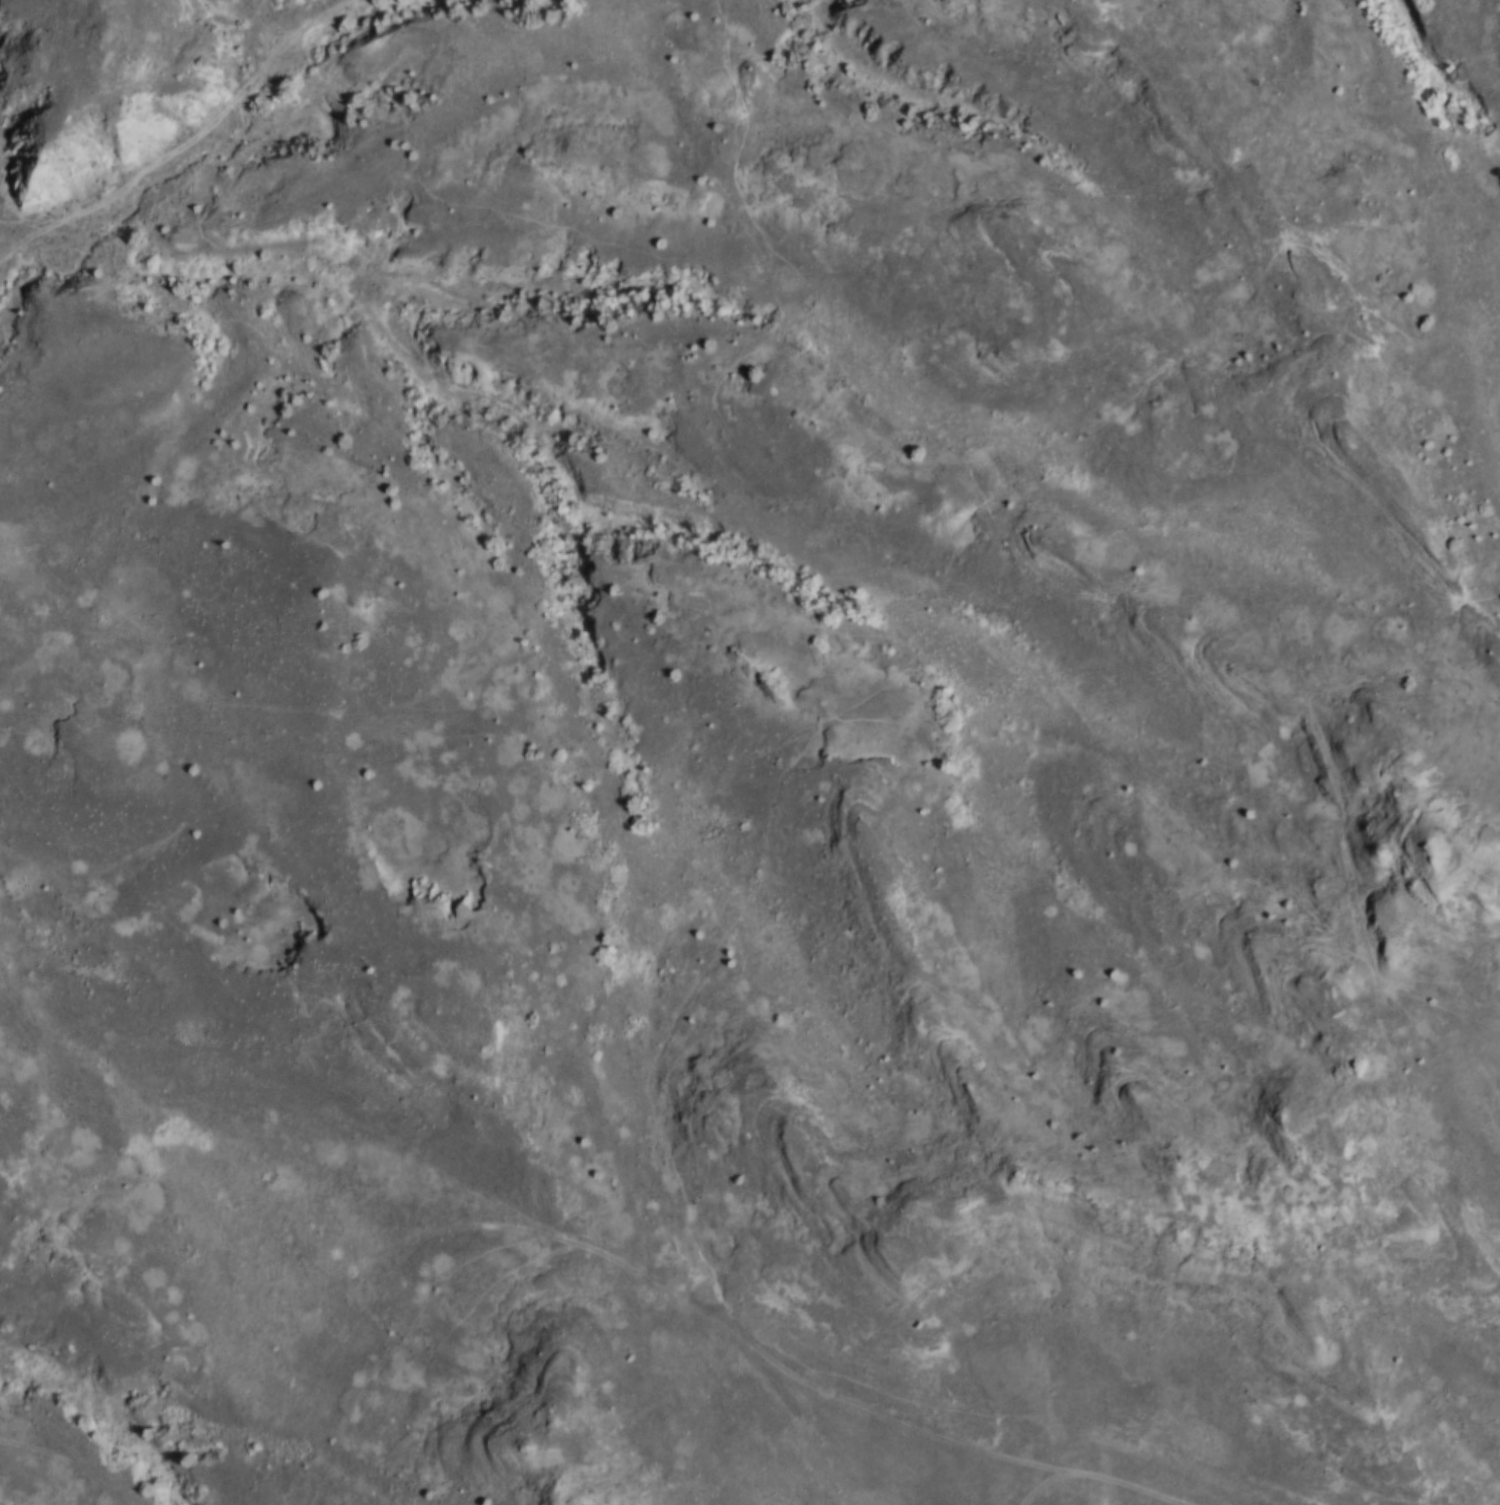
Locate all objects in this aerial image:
road: (1103, 1476)

